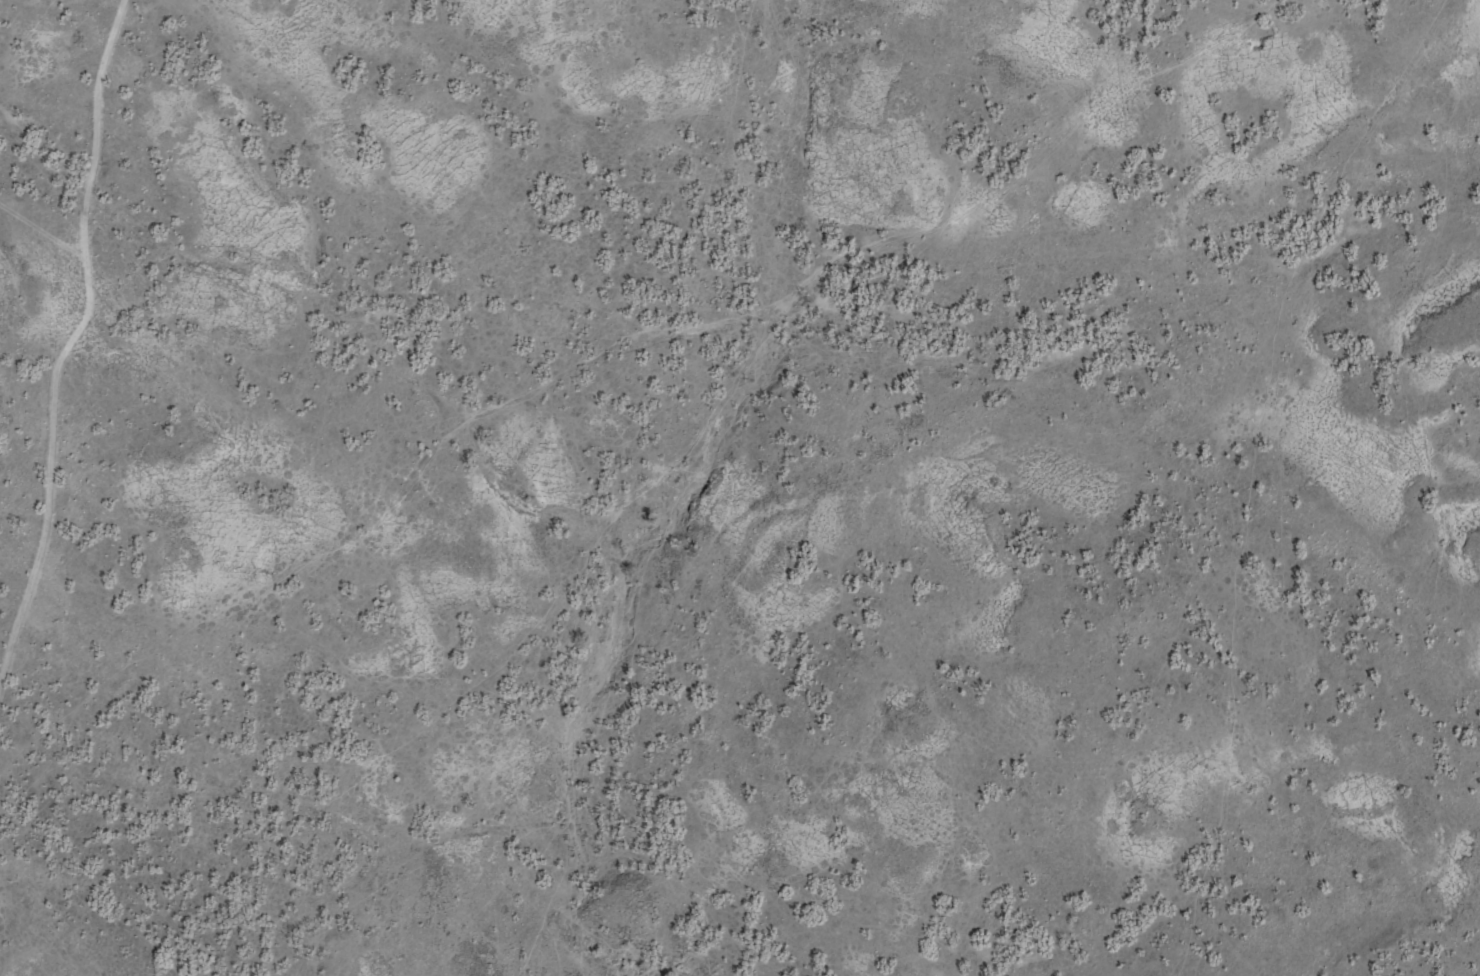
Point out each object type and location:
road: (727, 284)

